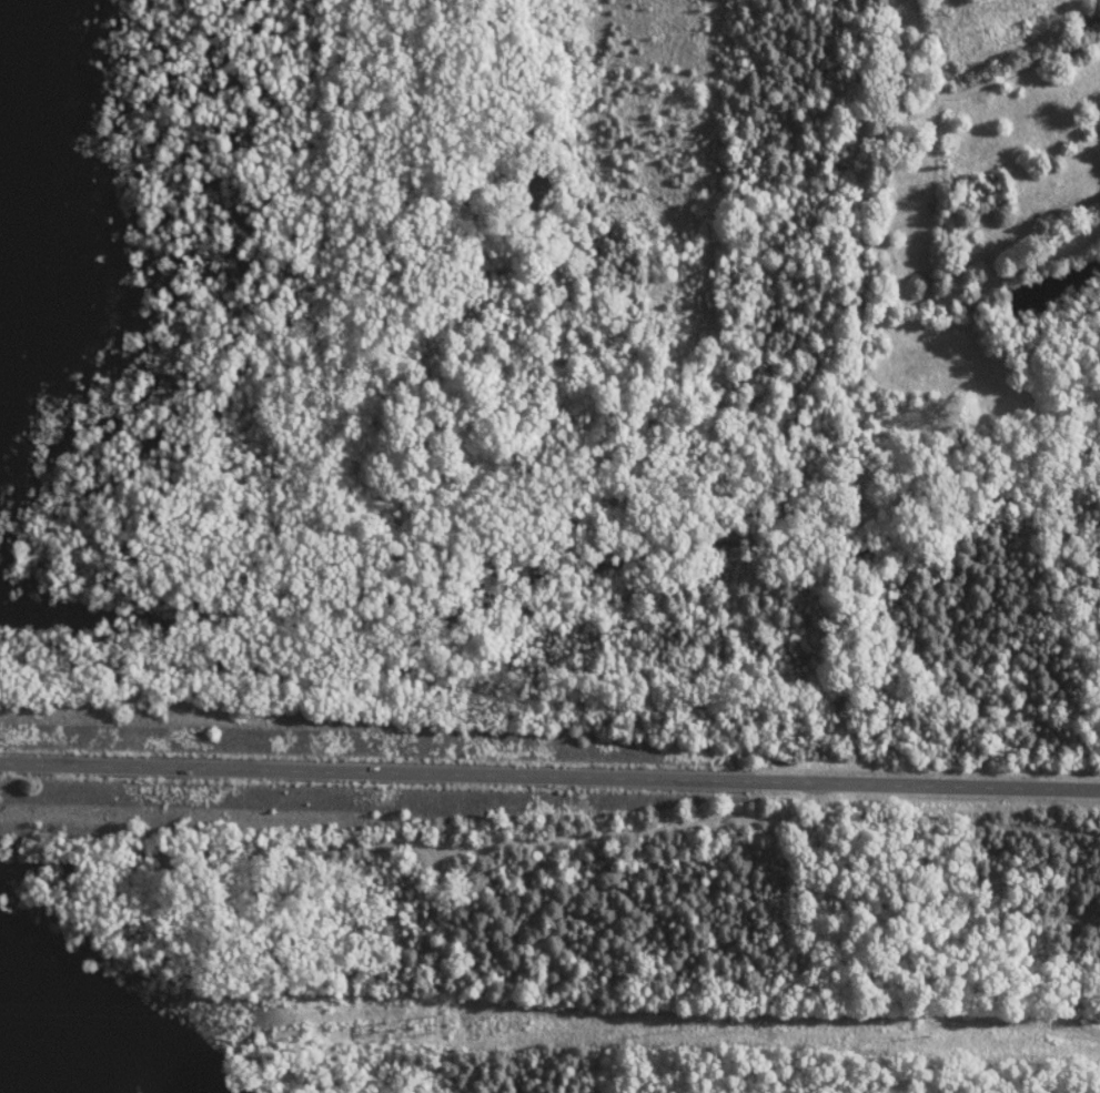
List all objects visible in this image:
road: (971, 90)
road: (549, 779)

